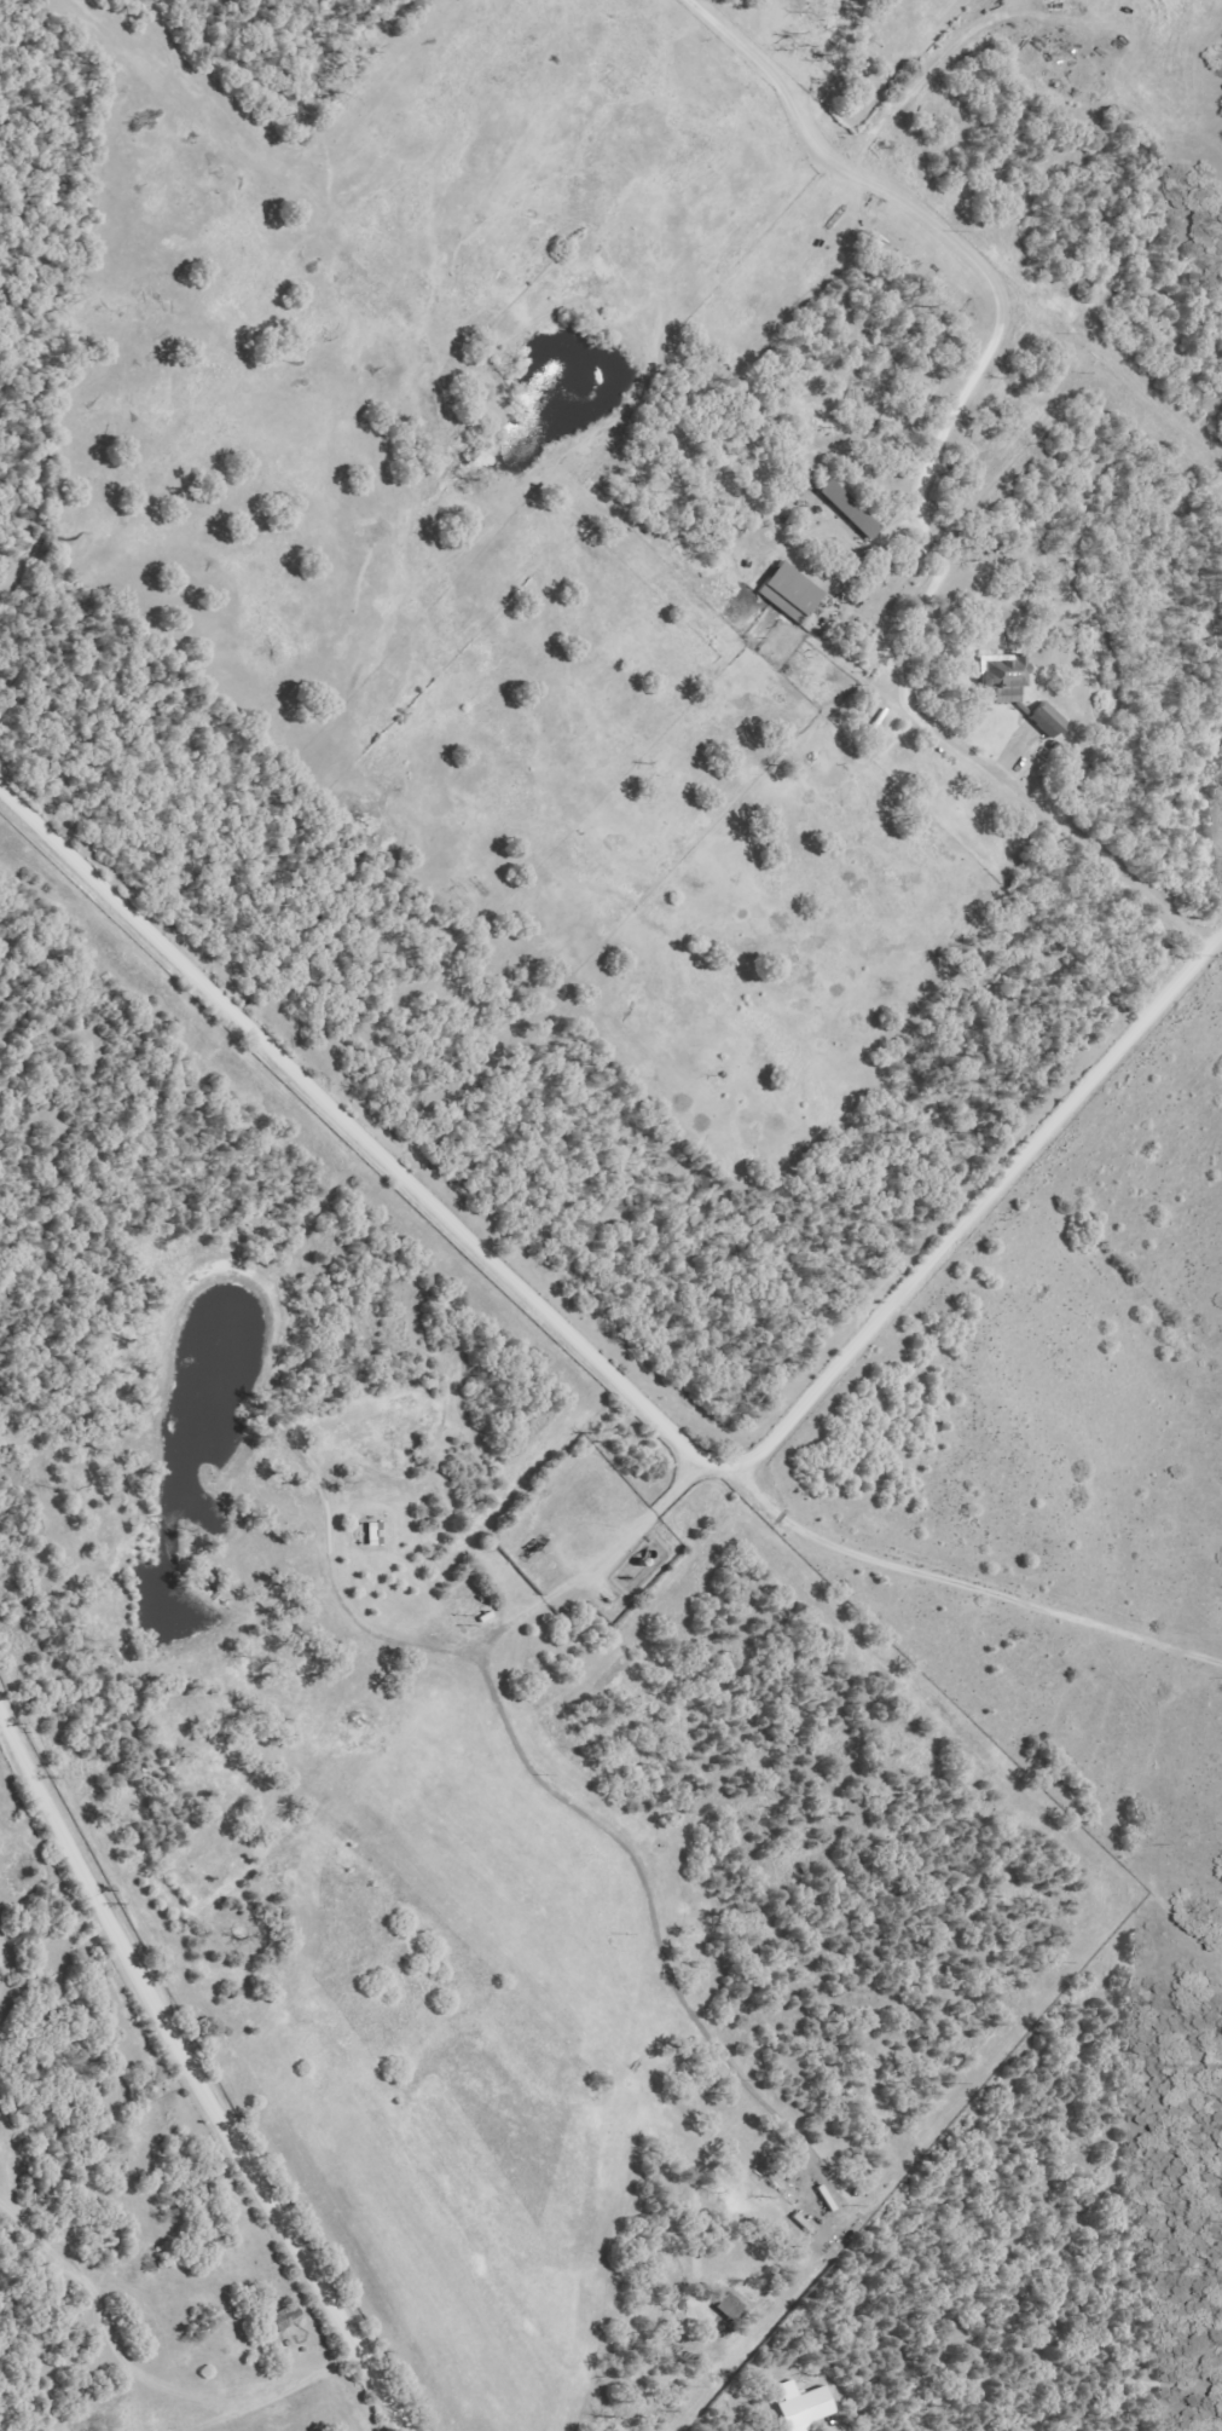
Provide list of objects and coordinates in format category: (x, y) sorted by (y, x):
road: (926, 474)
building: (850, 510)
road: (586, 529)
building: (789, 594)
building: (1003, 677)
building: (1047, 721)
road: (621, 1375)
building: (375, 1535)
road: (945, 1576)
road: (195, 2074)
building: (730, 2308)
building: (803, 2407)

